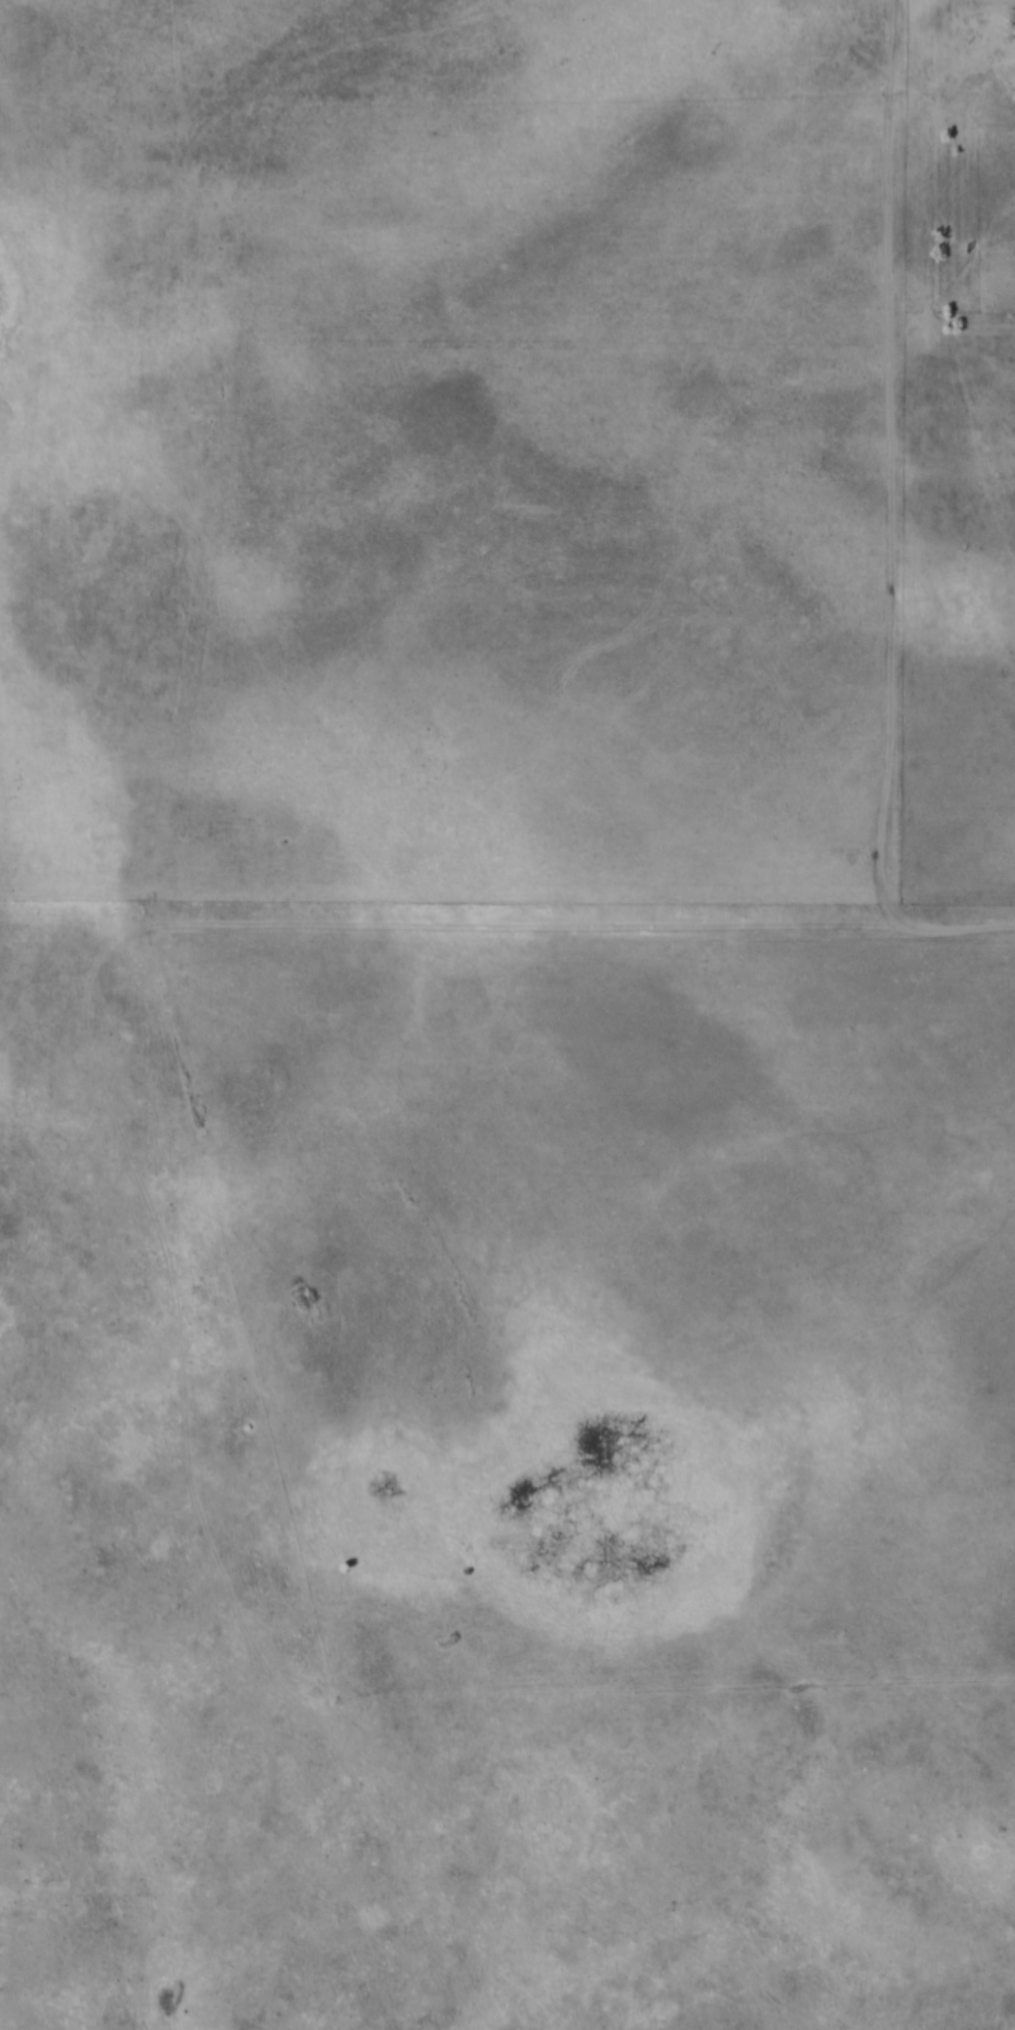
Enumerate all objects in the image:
road: (888, 472)
road: (964, 928)
road: (457, 933)

